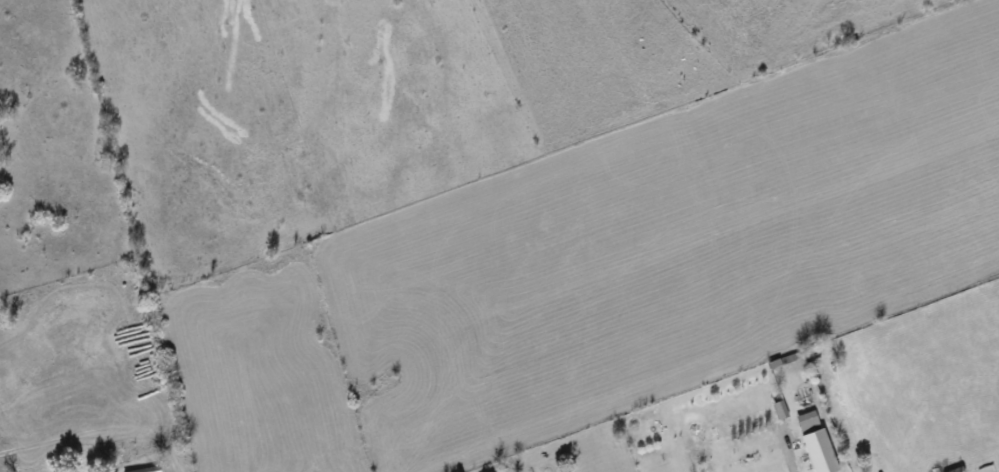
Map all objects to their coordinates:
building: (781, 409)
building: (808, 419)
building: (745, 424)
road: (789, 450)
building: (700, 451)
building: (820, 451)
building: (146, 469)
building: (957, 470)

